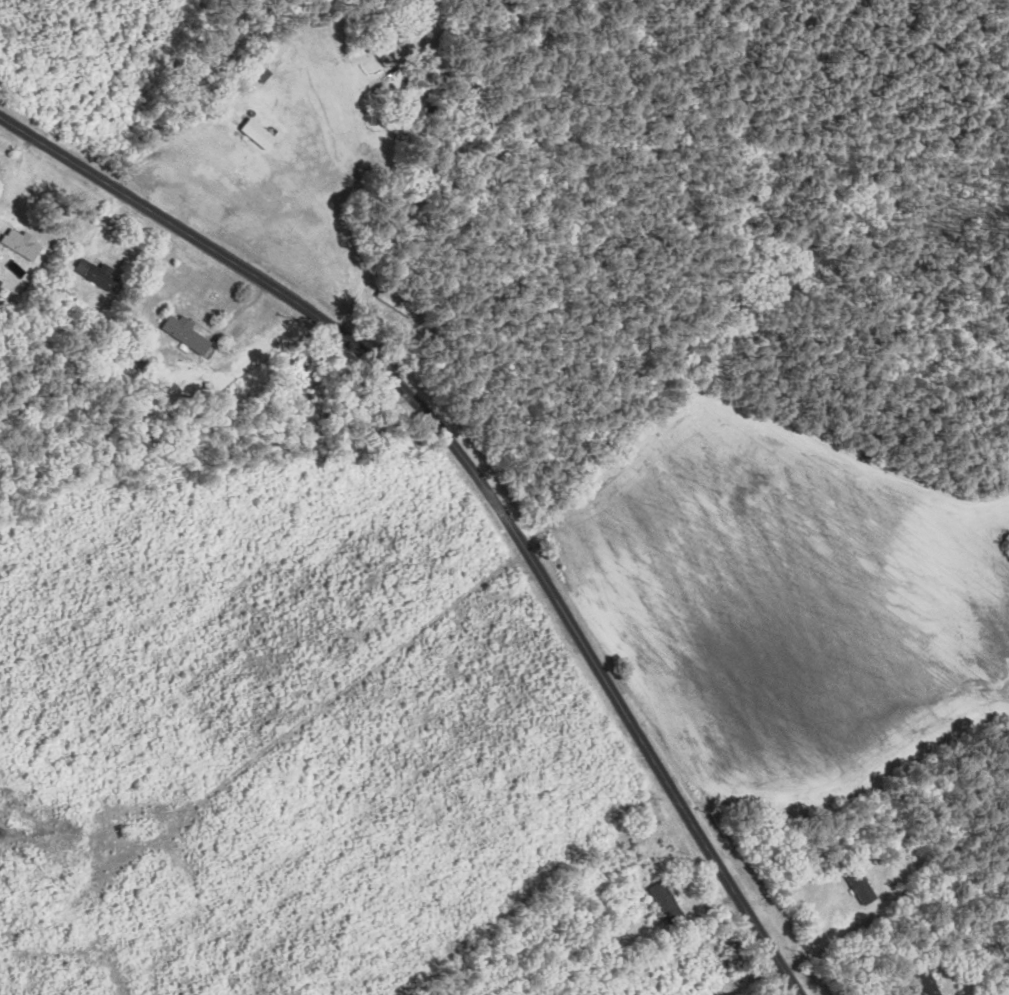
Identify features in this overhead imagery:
building: (394, 52)
building: (261, 73)
building: (259, 134)
building: (24, 245)
building: (97, 275)
building: (0, 284)
building: (395, 312)
building: (185, 333)
road: (479, 479)
building: (862, 887)
building: (668, 903)
building: (682, 974)

